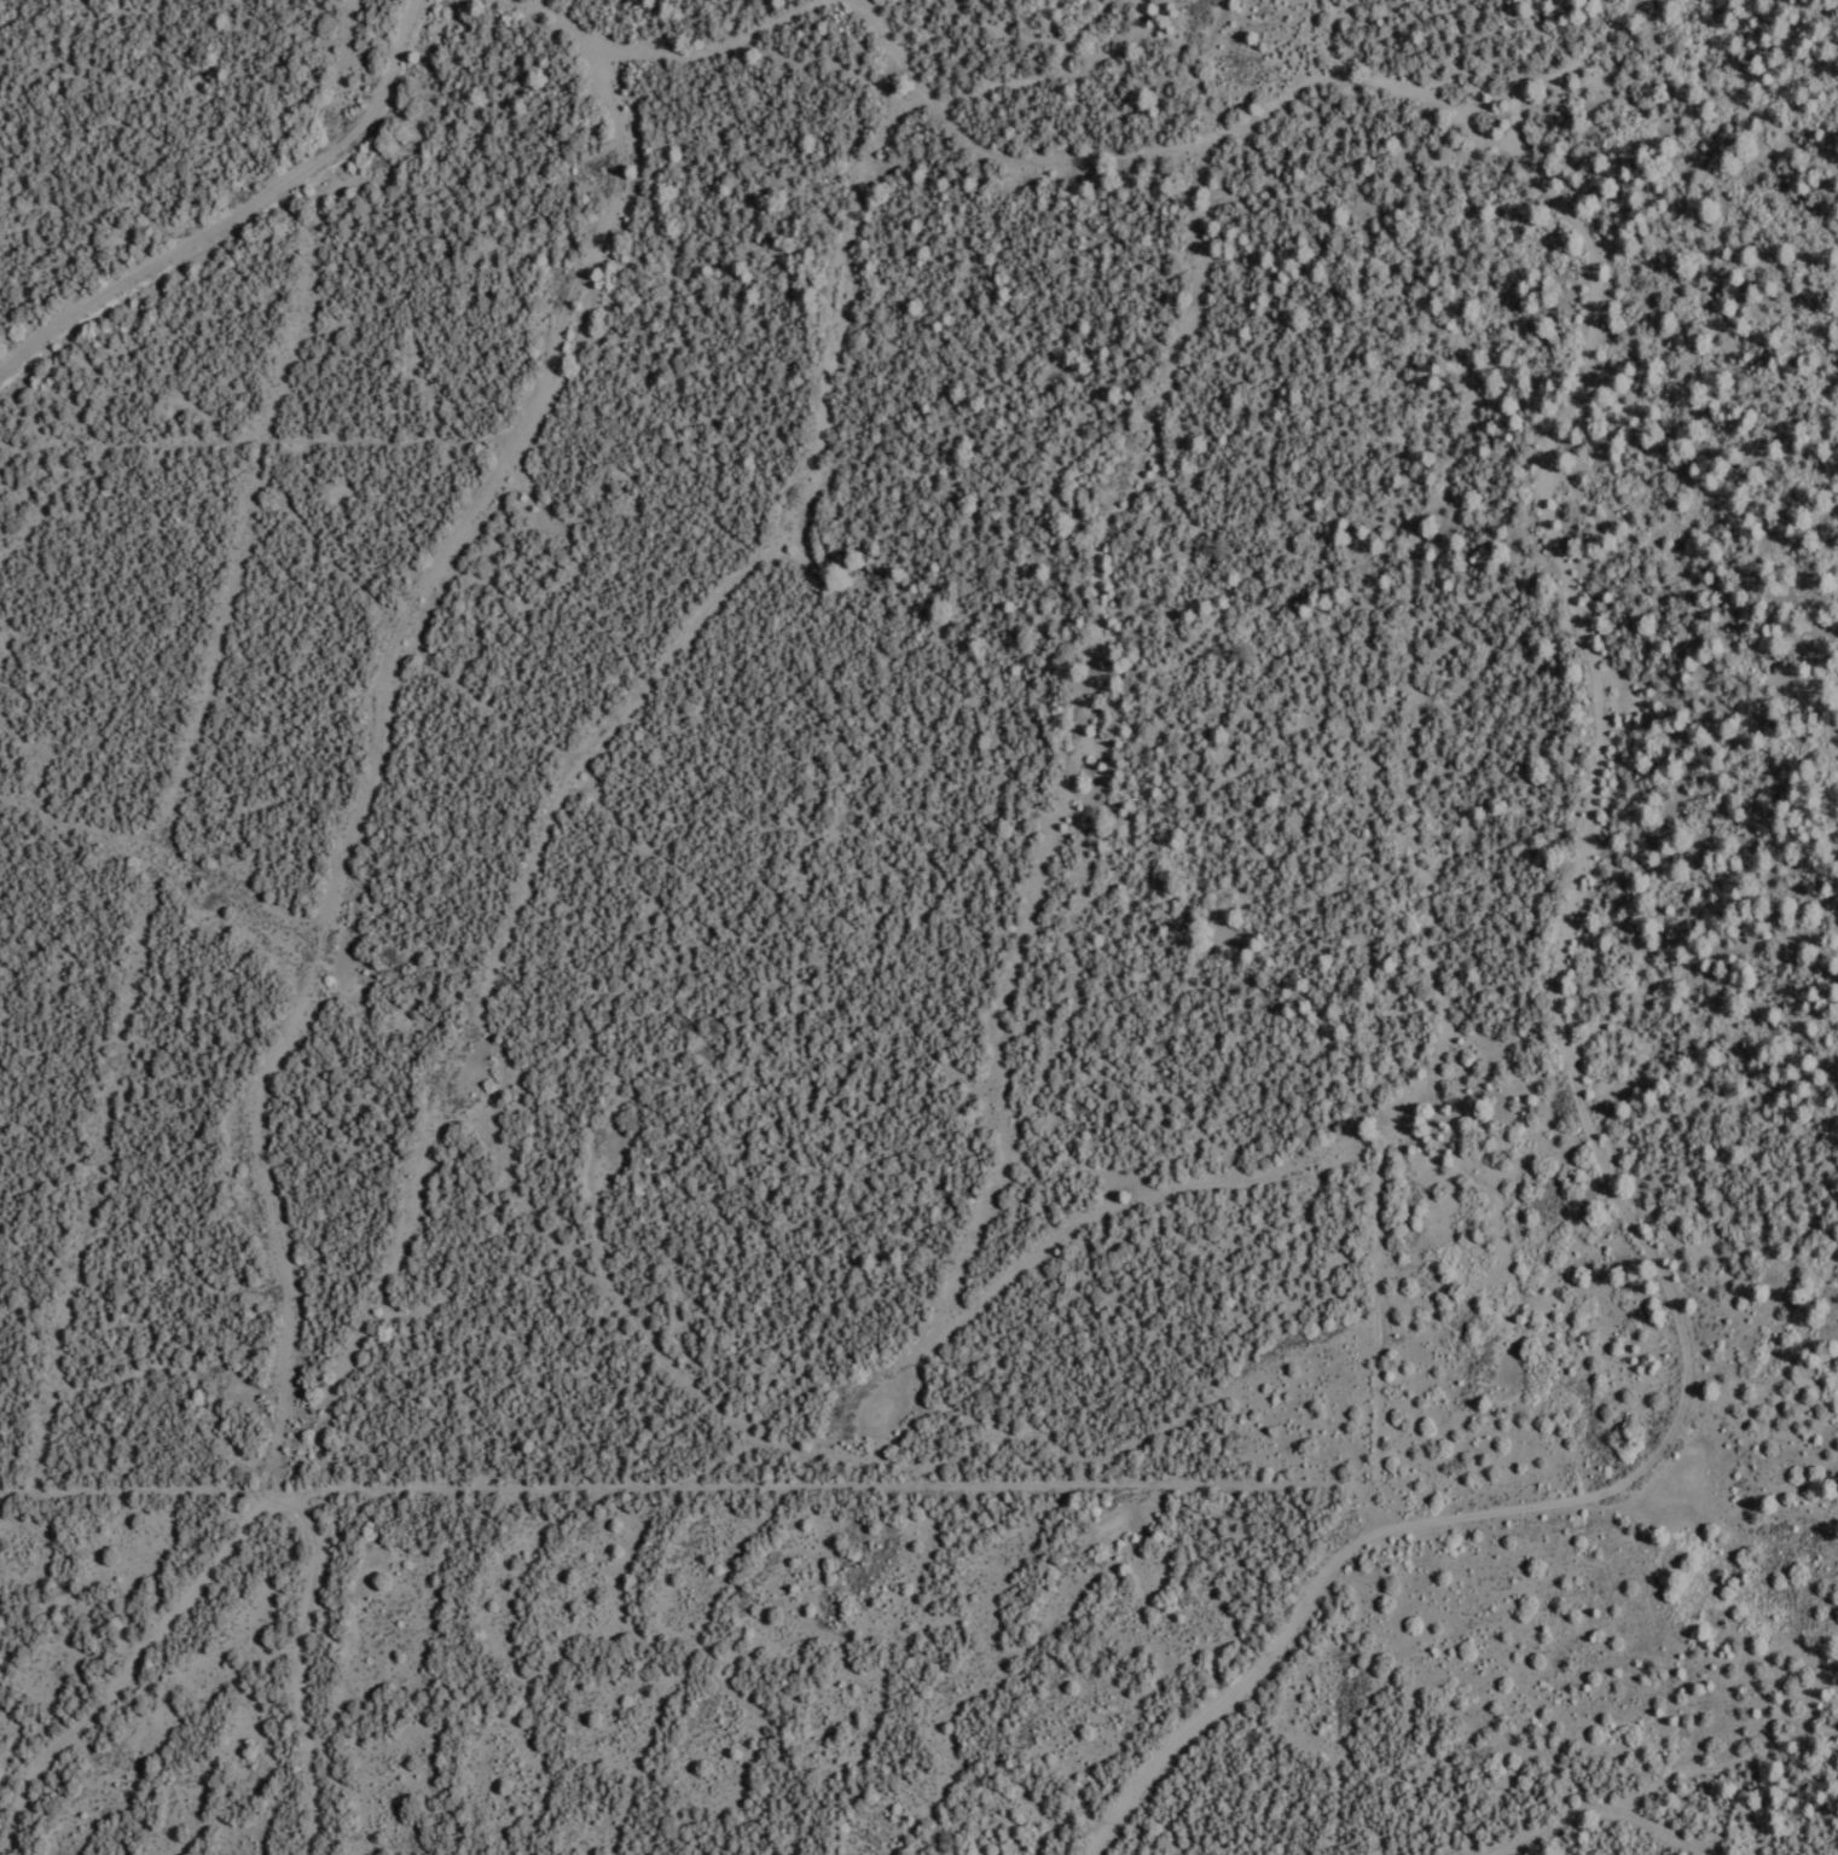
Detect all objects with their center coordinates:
road: (211, 150)
road: (1443, 972)
road: (271, 1489)
road: (1636, 1833)

